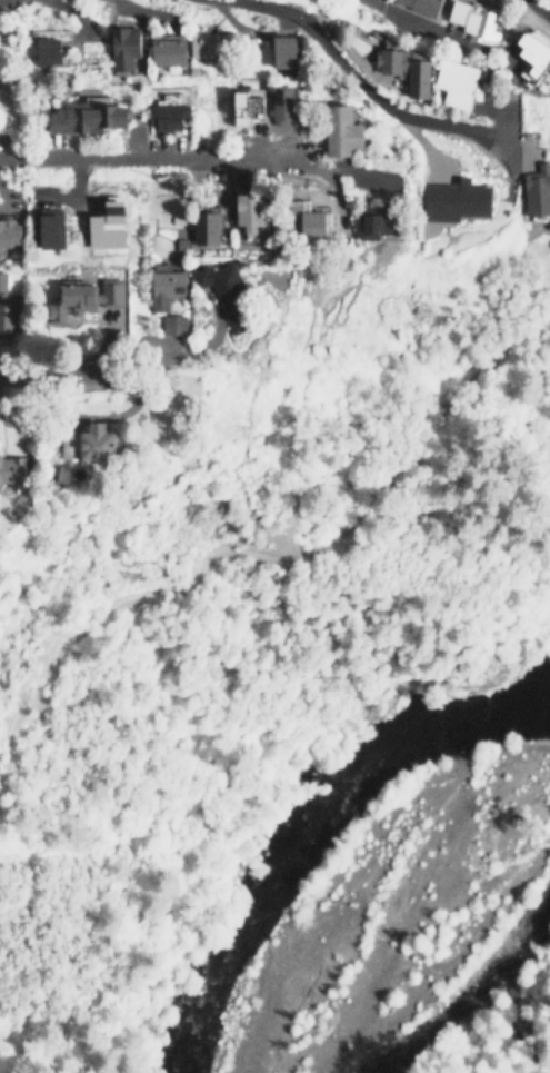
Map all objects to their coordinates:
building: (426, 6)
road: (539, 9)
building: (477, 19)
building: (212, 43)
building: (126, 48)
building: (47, 50)
building: (170, 51)
building: (287, 51)
building: (537, 52)
building: (407, 69)
building: (456, 82)
road: (360, 91)
building: (287, 102)
building: (251, 103)
building: (90, 117)
building: (169, 117)
building: (346, 129)
road: (196, 158)
building: (539, 190)
building: (454, 200)
building: (254, 212)
building: (317, 222)
building: (378, 222)
building: (111, 226)
building: (51, 227)
building: (209, 227)
building: (11, 231)
building: (168, 282)
building: (227, 294)
building: (86, 297)
building: (11, 310)
building: (173, 324)
road: (96, 374)
building: (101, 441)
building: (13, 471)
road: (261, 547)
river: (307, 823)

